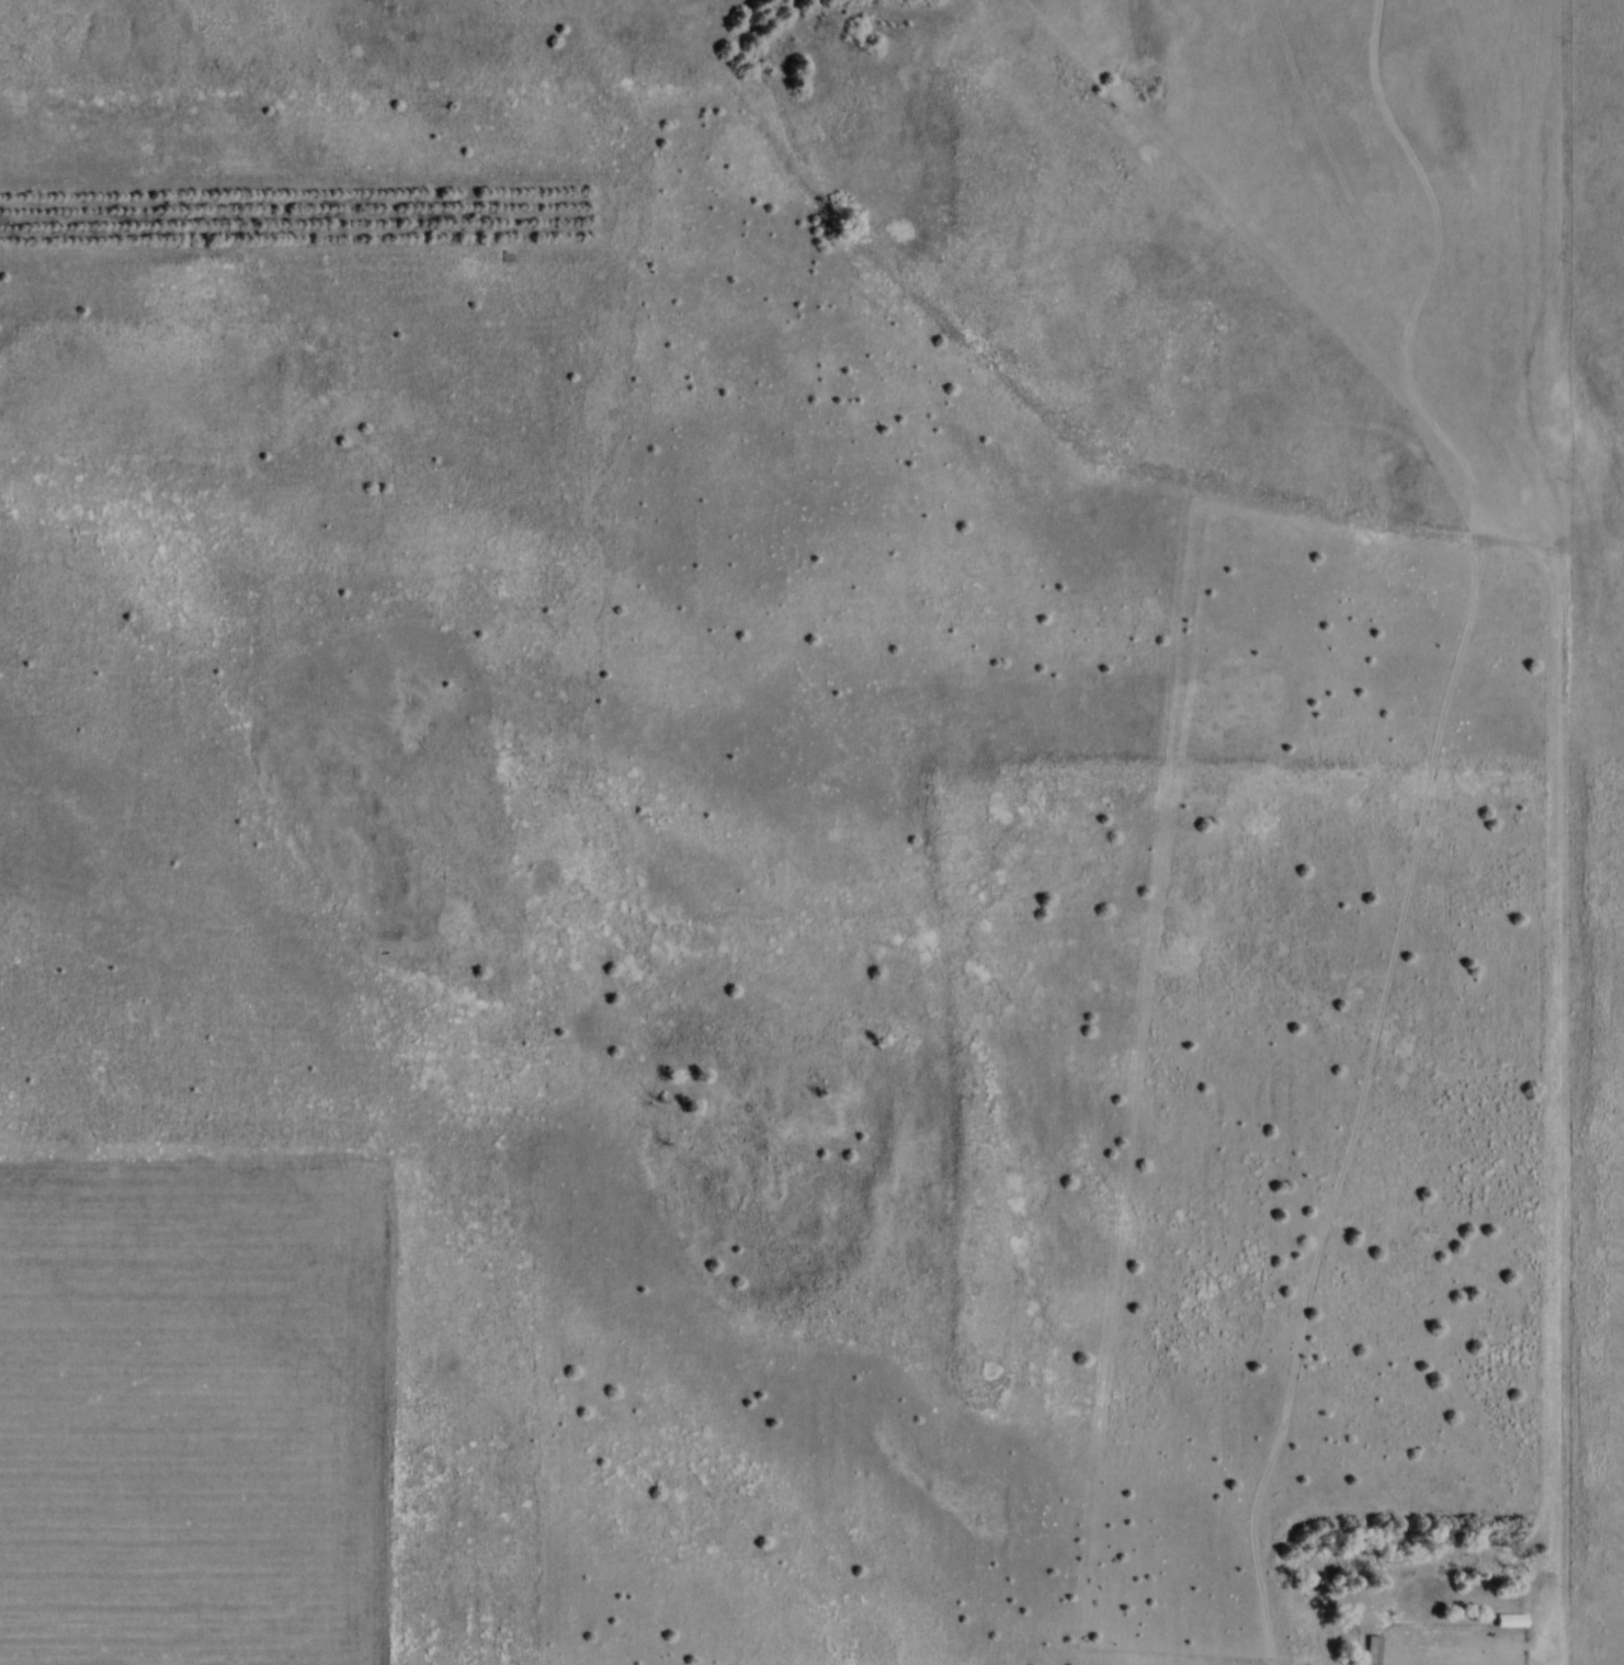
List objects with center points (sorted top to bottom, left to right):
building: (1510, 1621)
building: (1373, 1650)

